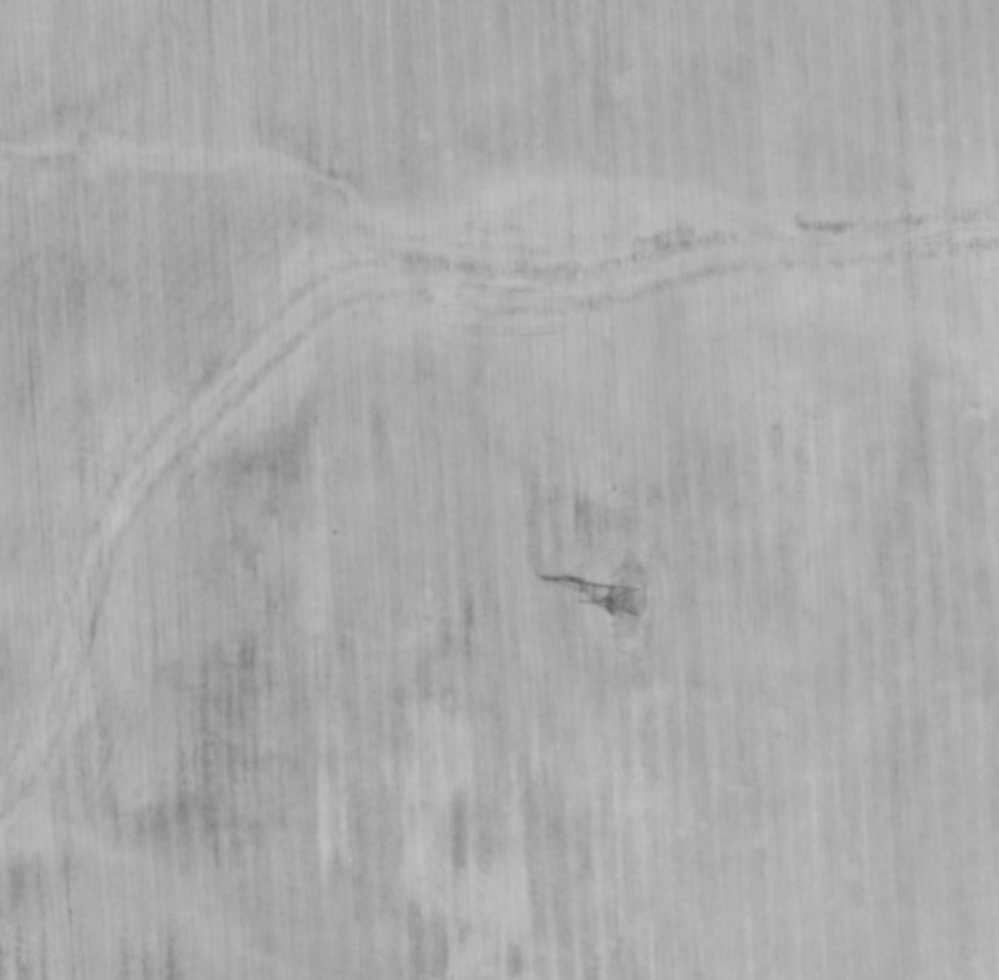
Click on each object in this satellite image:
power tower: (623, 600)

